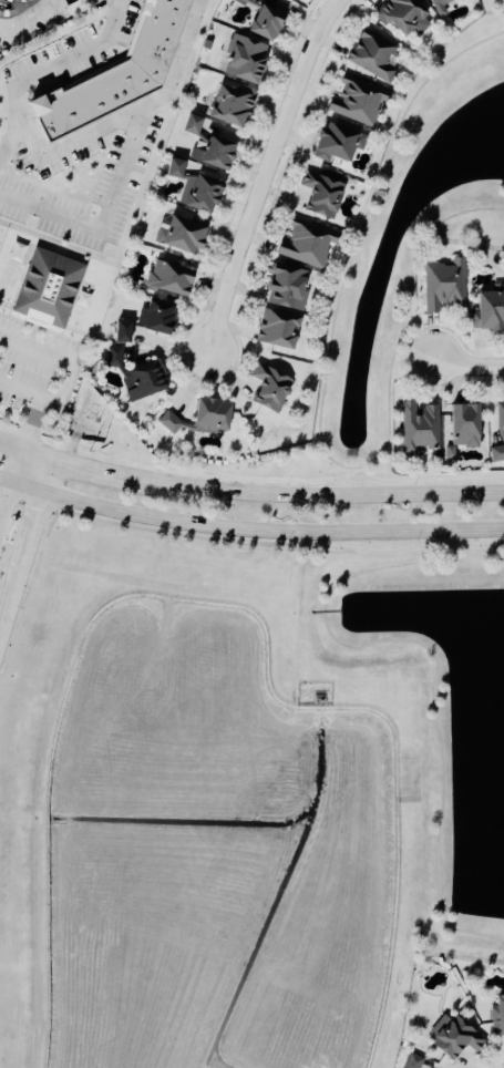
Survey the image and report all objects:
road: (120, 0)
building: (238, 2)
building: (439, 4)
road: (29, 16)
building: (398, 16)
building: (261, 23)
building: (372, 57)
building: (241, 61)
road: (47, 72)
building: (119, 73)
building: (356, 101)
building: (227, 105)
building: (196, 124)
road: (75, 141)
building: (335, 143)
building: (210, 154)
road: (128, 158)
building: (182, 167)
road: (268, 173)
building: (198, 195)
building: (319, 196)
building: (178, 236)
building: (304, 244)
building: (166, 279)
building: (442, 286)
building: (284, 288)
building: (53, 289)
building: (488, 310)
building: (153, 318)
building: (275, 330)
building: (126, 331)
road: (414, 351)
road: (56, 357)
building: (116, 357)
road: (467, 366)
building: (141, 380)
building: (266, 388)
road: (320, 400)
road: (40, 402)
building: (208, 417)
building: (497, 419)
building: (167, 423)
building: (460, 425)
building: (416, 428)
road: (12, 445)
building: (496, 446)
road: (81, 466)
road: (350, 472)
road: (264, 479)
road: (10, 484)
road: (321, 496)
road: (249, 530)
road: (271, 543)
road: (30, 548)
road: (382, 566)
road: (326, 610)
road: (441, 749)
building: (496, 1015)
building: (457, 1037)
building: (415, 1061)

